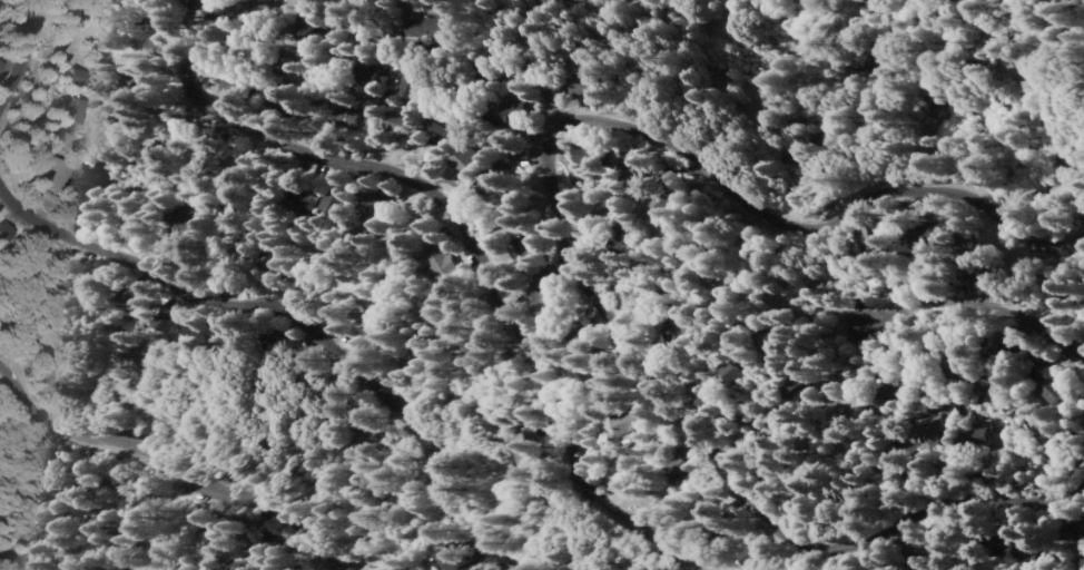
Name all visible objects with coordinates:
building: (195, 1)
building: (169, 20)
building: (435, 27)
road: (471, 52)
road: (22, 57)
building: (73, 78)
building: (589, 85)
building: (416, 86)
building: (516, 108)
building: (70, 112)
building: (354, 117)
building: (401, 125)
building: (449, 128)
building: (593, 158)
building: (471, 163)
building: (644, 174)
building: (51, 176)
road: (940, 183)
building: (89, 185)
building: (499, 186)
building: (305, 203)
building: (334, 203)
building: (676, 205)
building: (552, 216)
building: (373, 217)
building: (3, 233)
road: (474, 245)
building: (529, 248)
building: (637, 248)
building: (918, 253)
building: (269, 259)
building: (443, 268)
building: (71, 278)
building: (548, 298)
building: (132, 299)
road: (973, 304)
building: (168, 321)
road: (298, 327)
building: (700, 332)
building: (198, 334)
building: (582, 345)
building: (752, 376)
building: (812, 385)
building: (1064, 390)
building: (633, 423)
building: (368, 426)
building: (953, 433)
building: (998, 439)
road: (723, 469)
road: (175, 470)
building: (684, 470)
building: (725, 528)
building: (1027, 549)
road: (24, 554)
building: (757, 556)
building: (461, 558)
building: (1083, 560)

